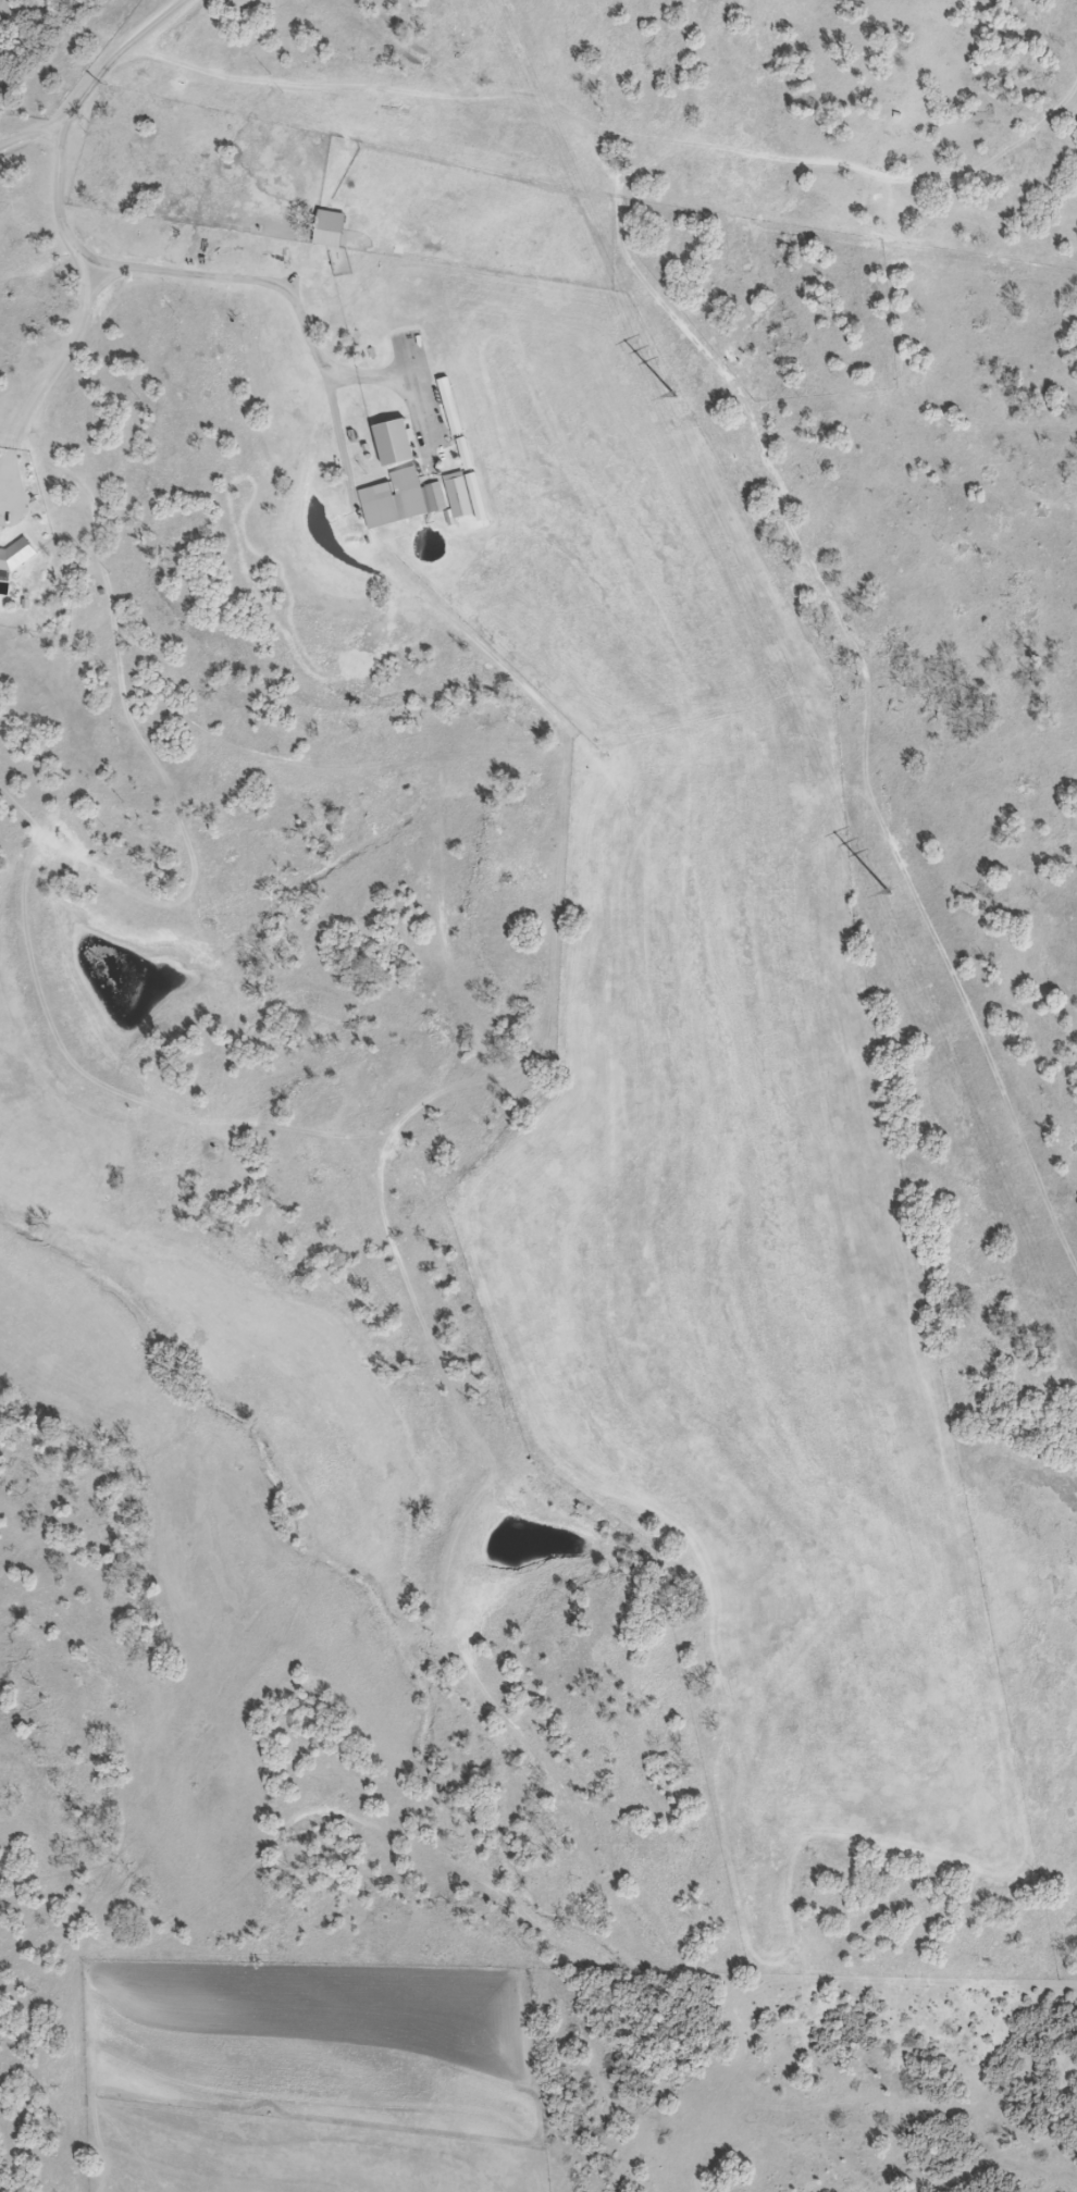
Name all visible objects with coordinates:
road: (33, 137)
building: (327, 230)
building: (302, 253)
road: (82, 255)
power tower: (676, 399)
building: (393, 444)
building: (403, 476)
building: (457, 496)
building: (422, 501)
building: (15, 556)
power tower: (888, 895)

